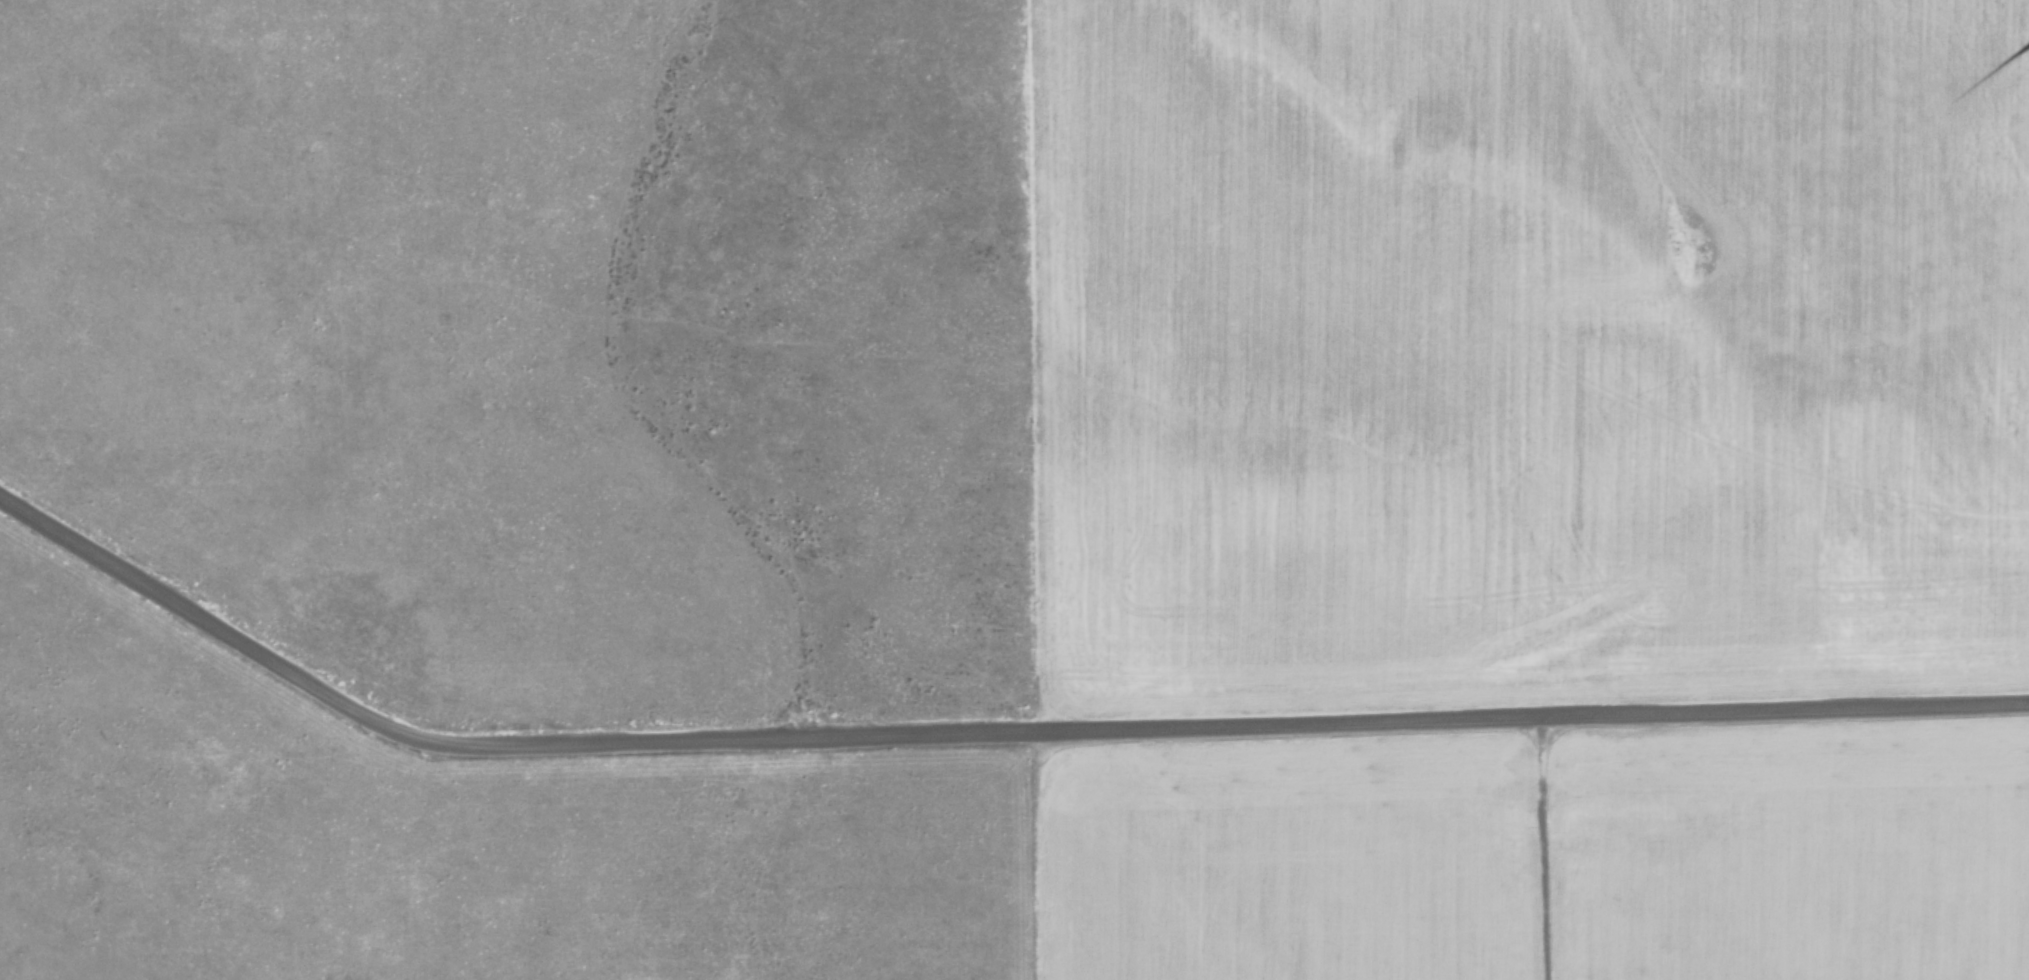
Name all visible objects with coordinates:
road: (982, 724)
road: (1540, 844)

